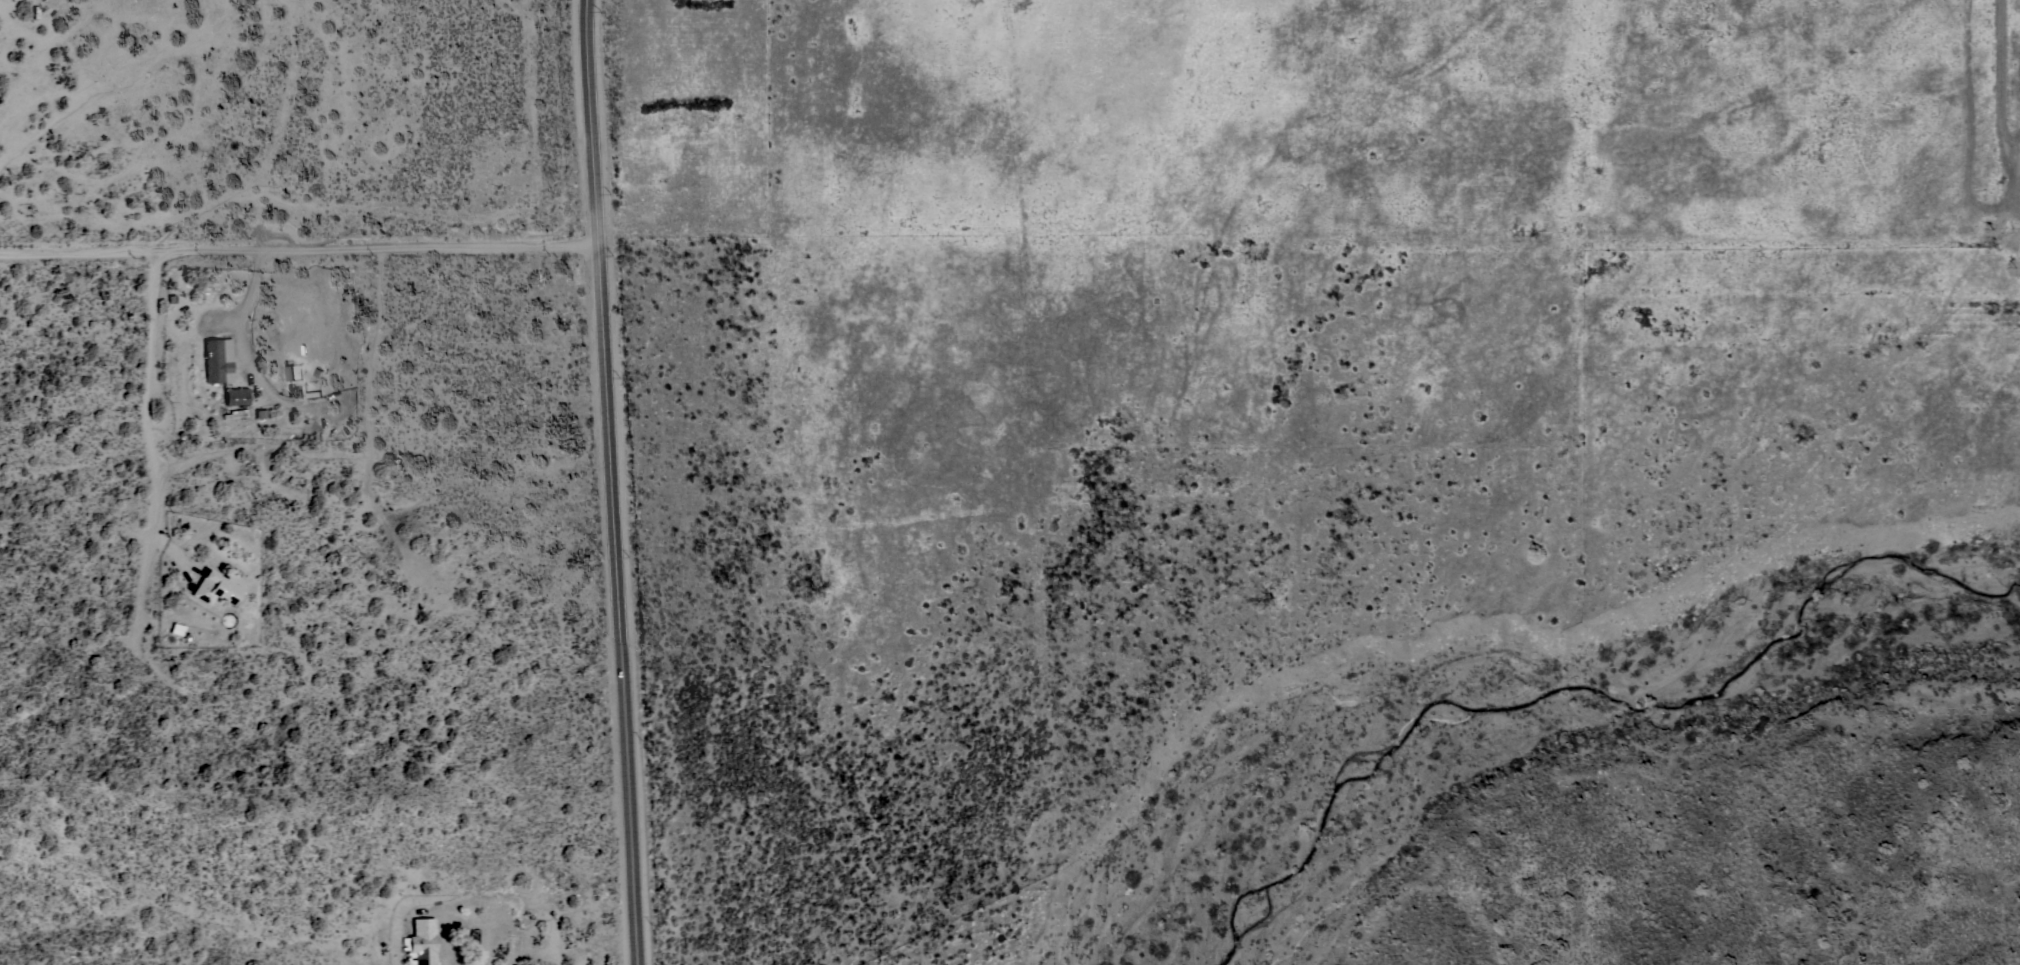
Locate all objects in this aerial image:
road: (2001, 72)
road: (295, 249)
building: (217, 359)
building: (289, 373)
building: (236, 396)
road: (150, 398)
road: (607, 482)
building: (217, 587)
building: (421, 941)

